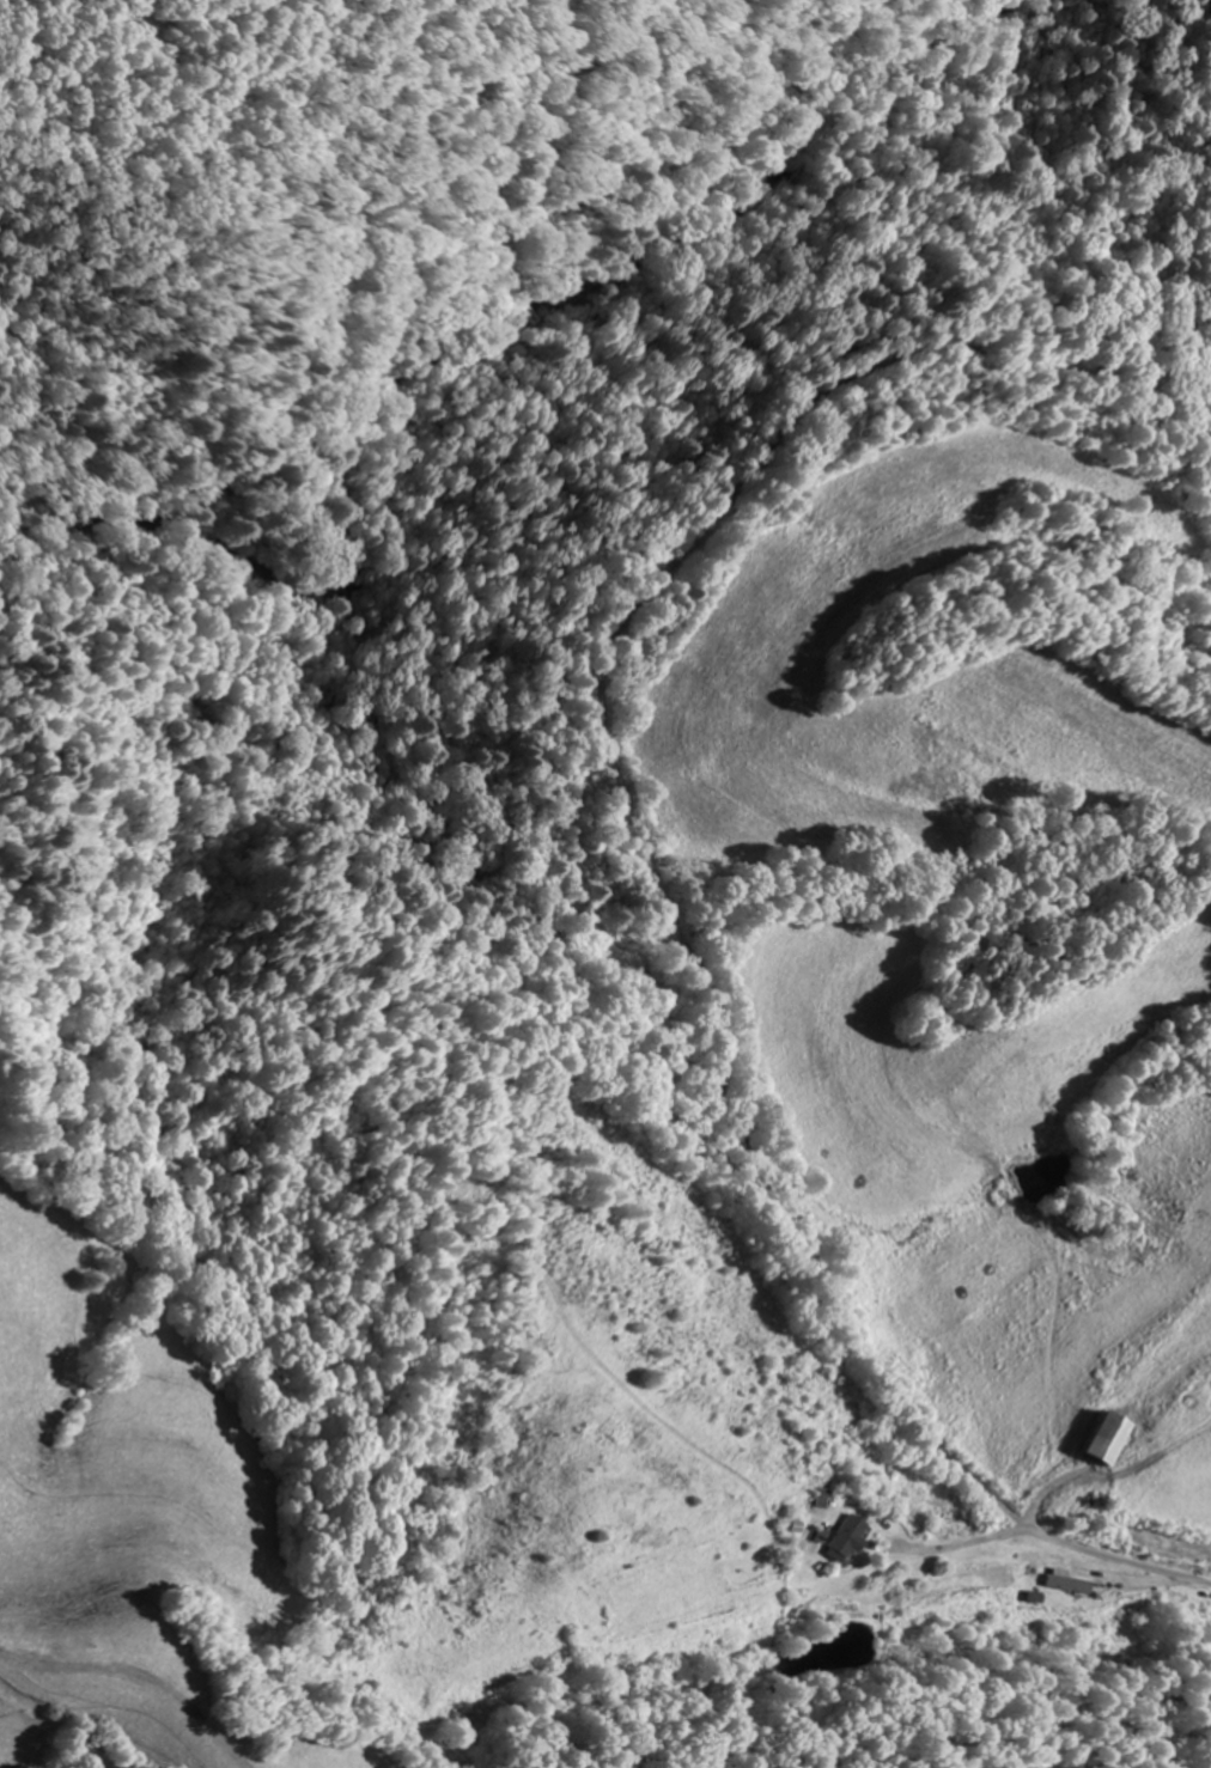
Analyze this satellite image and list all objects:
building: (1107, 1438)
building: (811, 1499)
building: (842, 1538)
road: (1053, 1541)
building: (1073, 1583)

